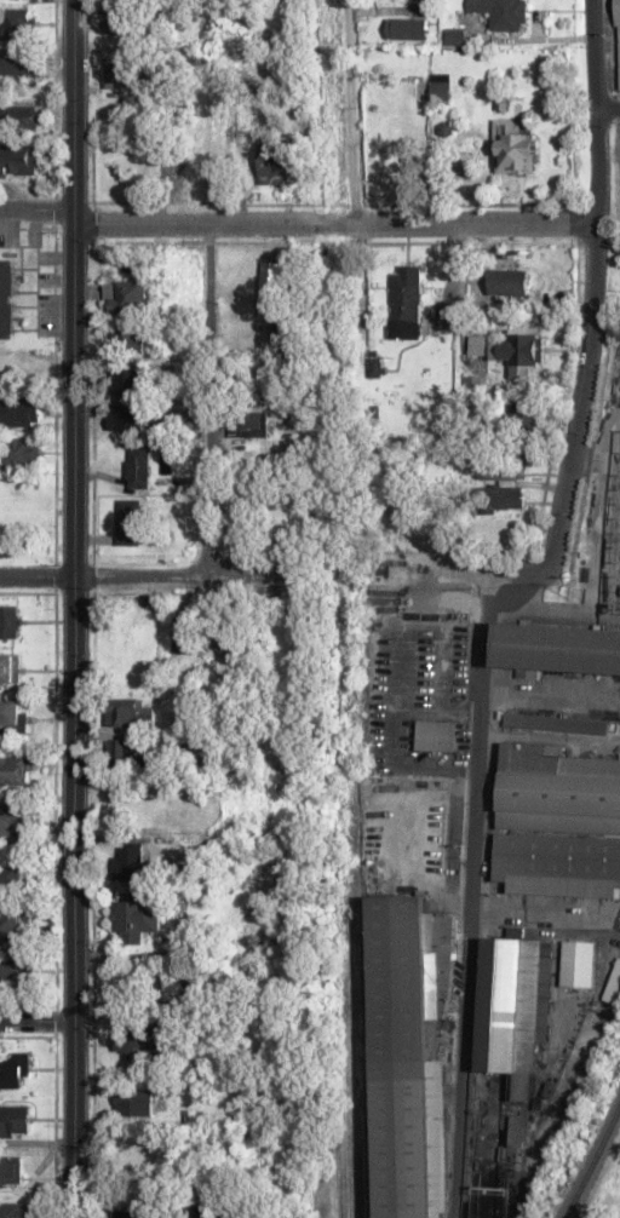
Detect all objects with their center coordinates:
building: (501, 13)
building: (16, 19)
building: (125, 24)
building: (407, 28)
building: (618, 41)
road: (593, 54)
building: (17, 63)
building: (126, 75)
building: (440, 82)
road: (608, 109)
road: (349, 111)
building: (18, 117)
building: (515, 148)
building: (18, 160)
road: (36, 211)
road: (333, 224)
building: (507, 282)
building: (127, 295)
building: (6, 299)
building: (406, 301)
building: (277, 311)
building: (127, 339)
road: (589, 347)
building: (509, 350)
building: (128, 380)
road: (207, 401)
building: (19, 412)
building: (522, 418)
building: (128, 419)
building: (251, 420)
building: (21, 453)
building: (136, 464)
building: (500, 470)
building: (498, 498)
building: (286, 515)
building: (128, 523)
road: (174, 576)
road: (35, 578)
road: (70, 608)
building: (10, 621)
building: (285, 621)
building: (184, 636)
building: (224, 644)
building: (557, 649)
building: (10, 670)
building: (136, 712)
building: (12, 714)
building: (436, 735)
building: (121, 753)
building: (13, 771)
building: (557, 822)
building: (17, 823)
building: (128, 866)
building: (11, 878)
road: (471, 886)
building: (136, 919)
building: (15, 927)
building: (576, 964)
building: (13, 970)
building: (613, 982)
building: (513, 1001)
road: (35, 1023)
building: (137, 1042)
building: (406, 1047)
building: (15, 1073)
building: (132, 1103)
building: (13, 1121)
building: (139, 1150)
railway: (593, 1161)
building: (10, 1170)
building: (134, 1191)
building: (12, 1211)
building: (133, 1216)

